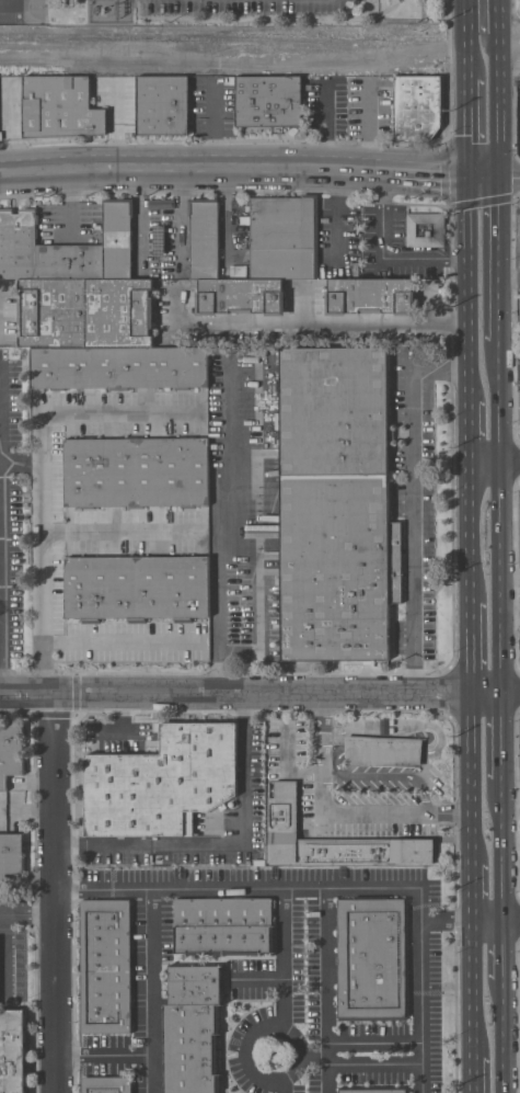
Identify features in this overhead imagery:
road: (4, 3)
parking lot: (247, 5)
power substation: (109, 10)
road: (478, 16)
road: (504, 47)
road: (472, 55)
building: (268, 101)
road: (496, 102)
building: (1, 105)
building: (57, 105)
building: (162, 105)
building: (417, 106)
road: (116, 123)
road: (215, 125)
road: (469, 127)
road: (199, 166)
road: (434, 173)
road: (483, 175)
traffic signals: (498, 175)
road: (509, 175)
traffic signals: (469, 177)
building: (161, 204)
road: (338, 213)
building: (425, 229)
building: (204, 237)
building: (284, 237)
building: (117, 238)
building: (43, 252)
road: (384, 254)
road: (497, 262)
road: (469, 287)
building: (370, 295)
building: (240, 296)
building: (519, 306)
building: (53, 312)
building: (119, 312)
road: (305, 325)
building: (118, 367)
building: (333, 410)
road: (469, 431)
road: (494, 462)
building: (136, 471)
road: (42, 481)
road: (412, 502)
road: (499, 519)
road: (3, 532)
road: (116, 532)
road: (471, 532)
road: (223, 537)
building: (337, 567)
building: (137, 588)
road: (117, 644)
road: (472, 645)
road: (496, 688)
road: (235, 693)
road: (118, 718)
road: (501, 735)
building: (382, 751)
building: (10, 752)
road: (472, 775)
building: (162, 782)
road: (335, 811)
building: (331, 839)
road: (226, 845)
road: (502, 853)
building: (10, 855)
road: (339, 888)
road: (473, 893)
road: (54, 895)
road: (27, 914)
road: (447, 921)
road: (496, 925)
building: (223, 926)
road: (5, 955)
road: (504, 955)
road: (284, 957)
building: (371, 959)
building: (106, 966)
road: (150, 971)
road: (330, 990)
road: (472, 991)
building: (193, 1029)
road: (504, 1038)
building: (12, 1051)
road: (123, 1054)
road: (316, 1056)
road: (297, 1069)
road: (472, 1074)
building: (107, 1084)
road: (282, 1086)
building: (373, 1090)

